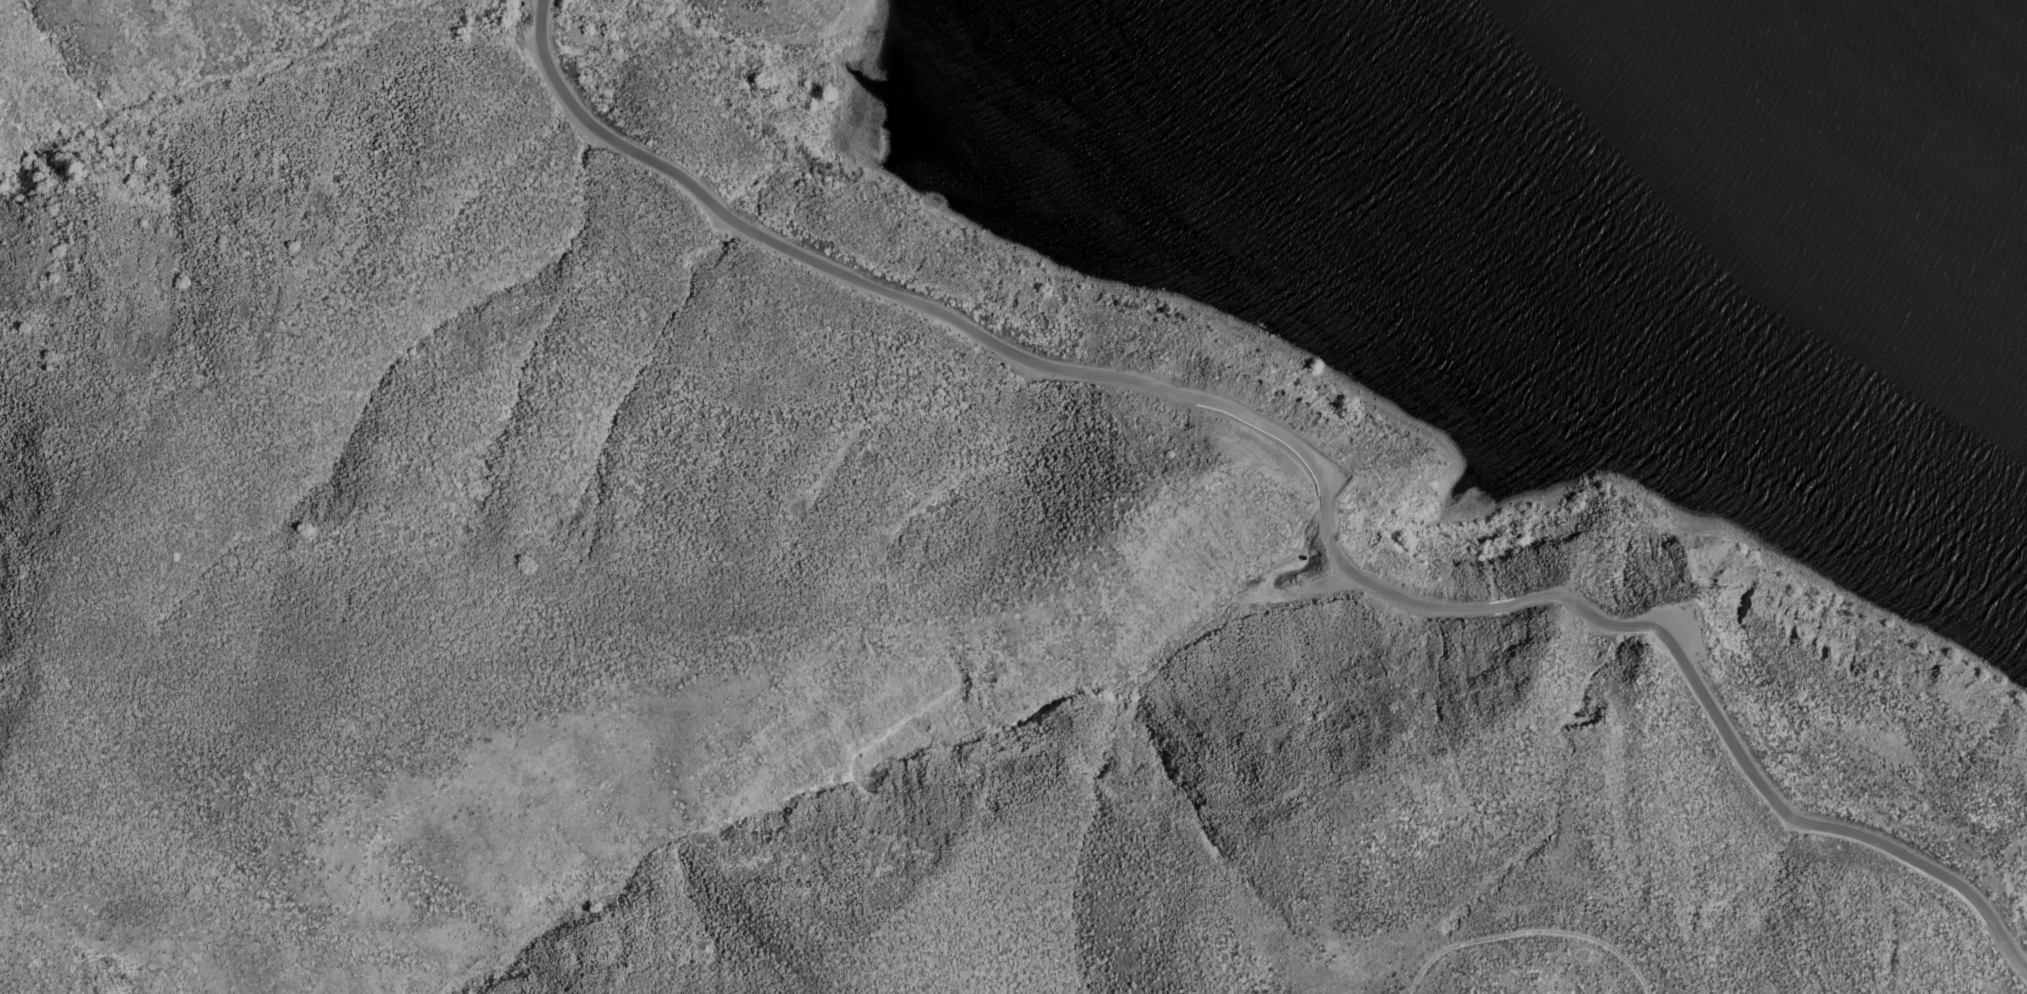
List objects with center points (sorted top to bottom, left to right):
road: (1323, 485)

